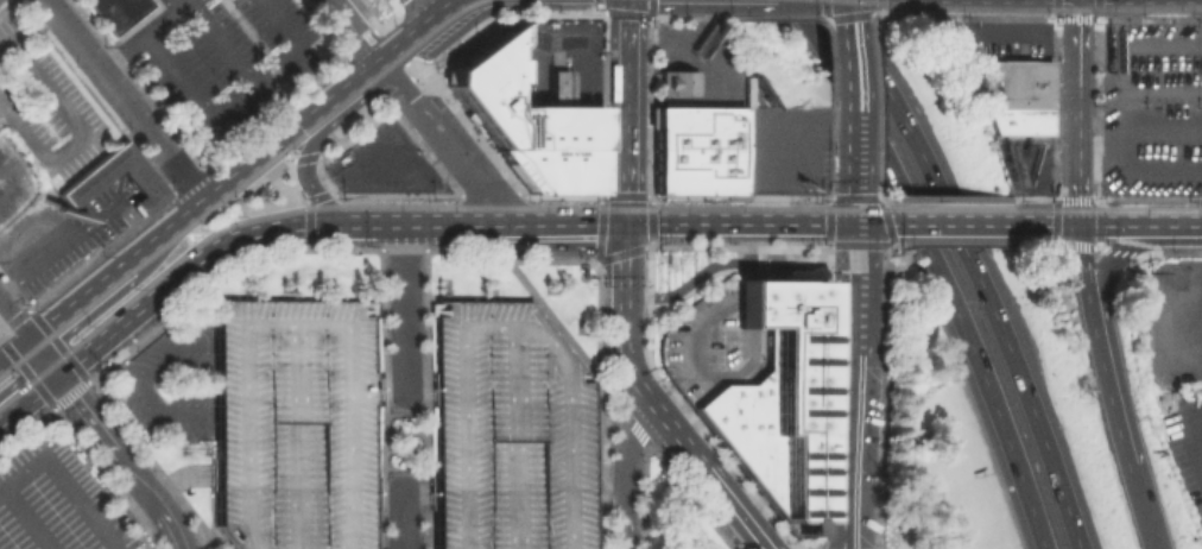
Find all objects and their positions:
railway: (856, 0)
road: (405, 5)
road: (423, 10)
road: (443, 10)
railway: (1033, 10)
building: (115, 12)
road: (339, 12)
road: (365, 13)
road: (386, 19)
road: (141, 33)
road: (373, 34)
parking lot: (994, 39)
road: (219, 40)
road: (359, 40)
road: (401, 42)
road: (1121, 45)
road: (356, 46)
road: (576, 56)
parking lot: (224, 62)
road: (847, 68)
building: (676, 83)
road: (350, 84)
road: (233, 95)
building: (1008, 96)
road: (124, 100)
parking lot: (42, 103)
parking lot: (1151, 108)
road: (274, 111)
road: (627, 111)
road: (1080, 112)
building: (526, 121)
road: (300, 124)
road: (1162, 128)
road: (315, 130)
road: (439, 138)
road: (765, 140)
road: (379, 141)
road: (278, 149)
building: (695, 150)
road: (299, 157)
parking lot: (382, 163)
parking lot: (1020, 164)
road: (248, 165)
railway: (284, 165)
road: (1140, 173)
building: (86, 179)
road: (847, 179)
road: (186, 181)
parking lot: (17, 183)
railway: (238, 187)
road: (314, 191)
railway: (293, 193)
road: (273, 197)
road: (311, 198)
railway: (409, 208)
railway: (949, 209)
road: (308, 210)
railway: (1107, 210)
road: (134, 220)
traffic signals: (339, 221)
road: (368, 221)
road: (736, 221)
traffic signals: (625, 222)
traffic signals: (849, 223)
road: (869, 223)
road: (954, 223)
road: (173, 225)
road: (555, 225)
traffic signals: (1080, 225)
road: (1088, 225)
road: (1179, 226)
parking lot: (81, 234)
road: (57, 248)
road: (748, 250)
road: (99, 251)
road: (799, 259)
road: (937, 267)
road: (975, 267)
road: (1106, 267)
road: (1083, 278)
road: (687, 284)
road: (849, 288)
road: (148, 296)
road: (742, 297)
road: (748, 301)
road: (75, 302)
road: (403, 307)
road: (13, 320)
road: (291, 326)
road: (500, 326)
road: (12, 327)
traffic signals: (26, 342)
building: (709, 343)
parking lot: (709, 343)
road: (13, 353)
road: (39, 359)
road: (626, 359)
parking lot: (1177, 364)
road: (1183, 370)
road: (692, 372)
traffic signals: (53, 376)
parking lot: (173, 379)
road: (139, 380)
road: (401, 392)
road: (390, 397)
road: (1109, 397)
road: (26, 398)
building: (776, 399)
building: (292, 422)
parking lot: (292, 422)
building: (506, 429)
parking lot: (506, 429)
road: (292, 437)
road: (513, 437)
road: (1189, 438)
road: (423, 440)
road: (848, 450)
road: (120, 460)
road: (626, 460)
road: (190, 473)
road: (62, 480)
road: (392, 486)
road: (401, 491)
parking lot: (55, 501)
road: (119, 505)
road: (1141, 505)
road: (736, 510)
road: (29, 518)
road: (403, 519)
road: (625, 534)

